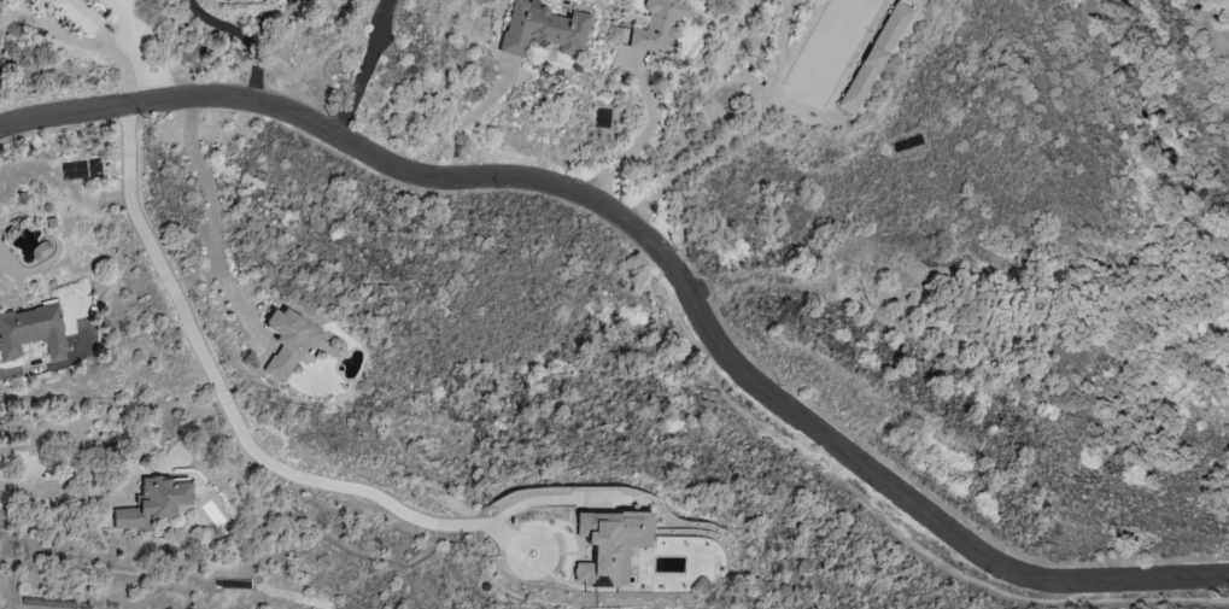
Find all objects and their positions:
building: (74, 12)
building: (661, 27)
building: (544, 29)
road: (273, 39)
road: (83, 41)
building: (876, 58)
road: (370, 71)
road: (467, 119)
road: (638, 136)
road: (213, 207)
road: (656, 254)
building: (33, 333)
building: (292, 342)
building: (81, 347)
road: (4, 376)
road: (252, 452)
road: (52, 491)
building: (157, 504)
building: (613, 545)

